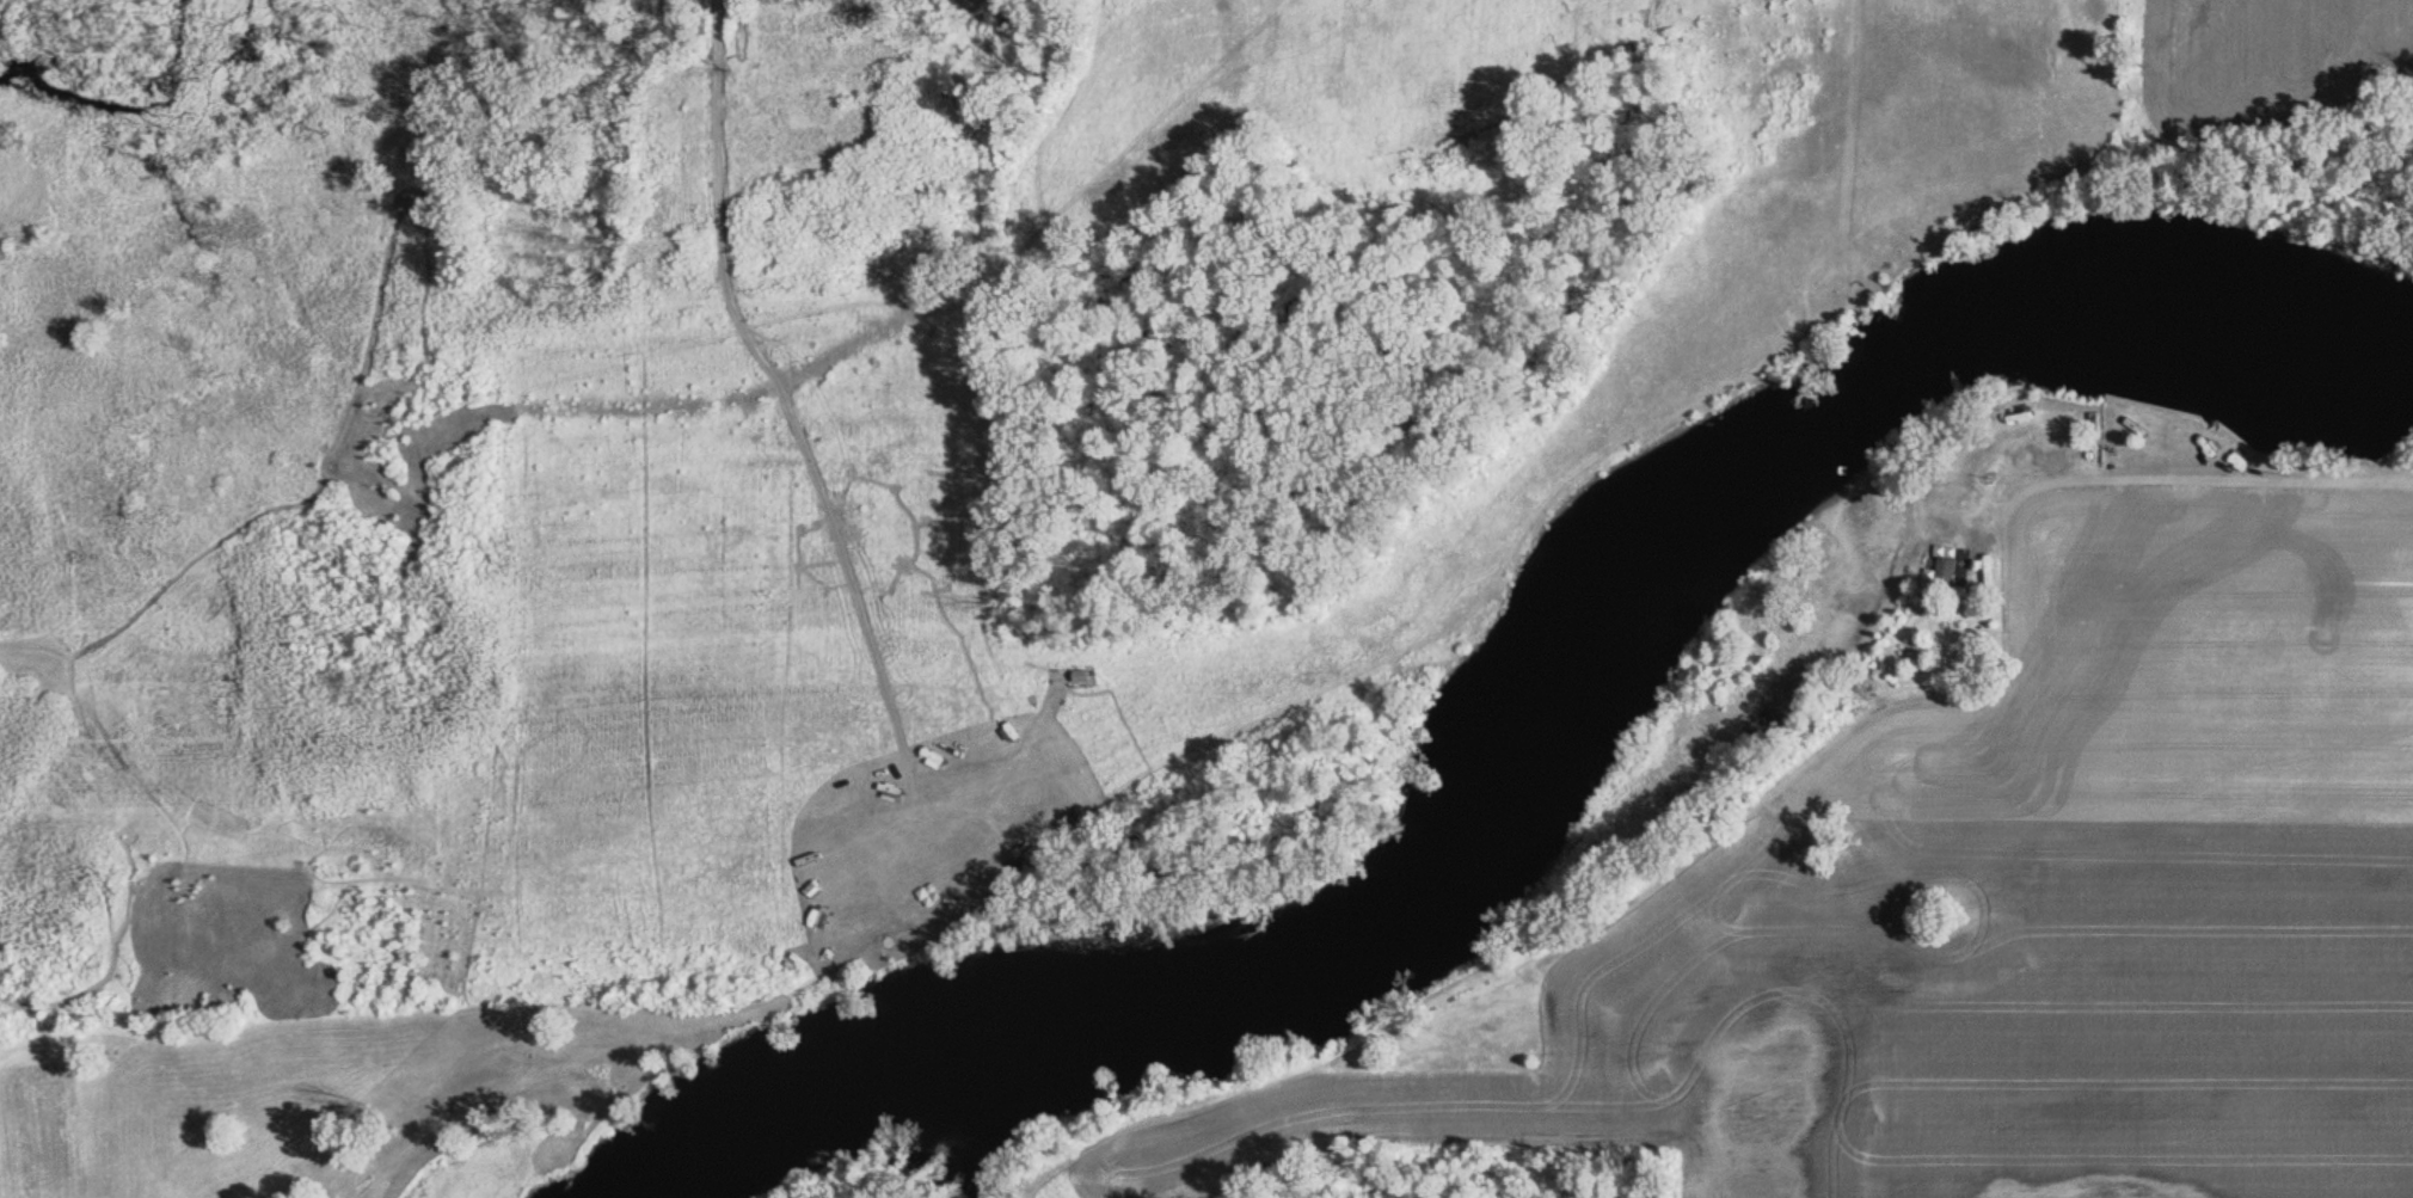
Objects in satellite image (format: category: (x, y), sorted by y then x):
road: (2132, 480)
building: (1950, 571)
river: (1562, 735)

